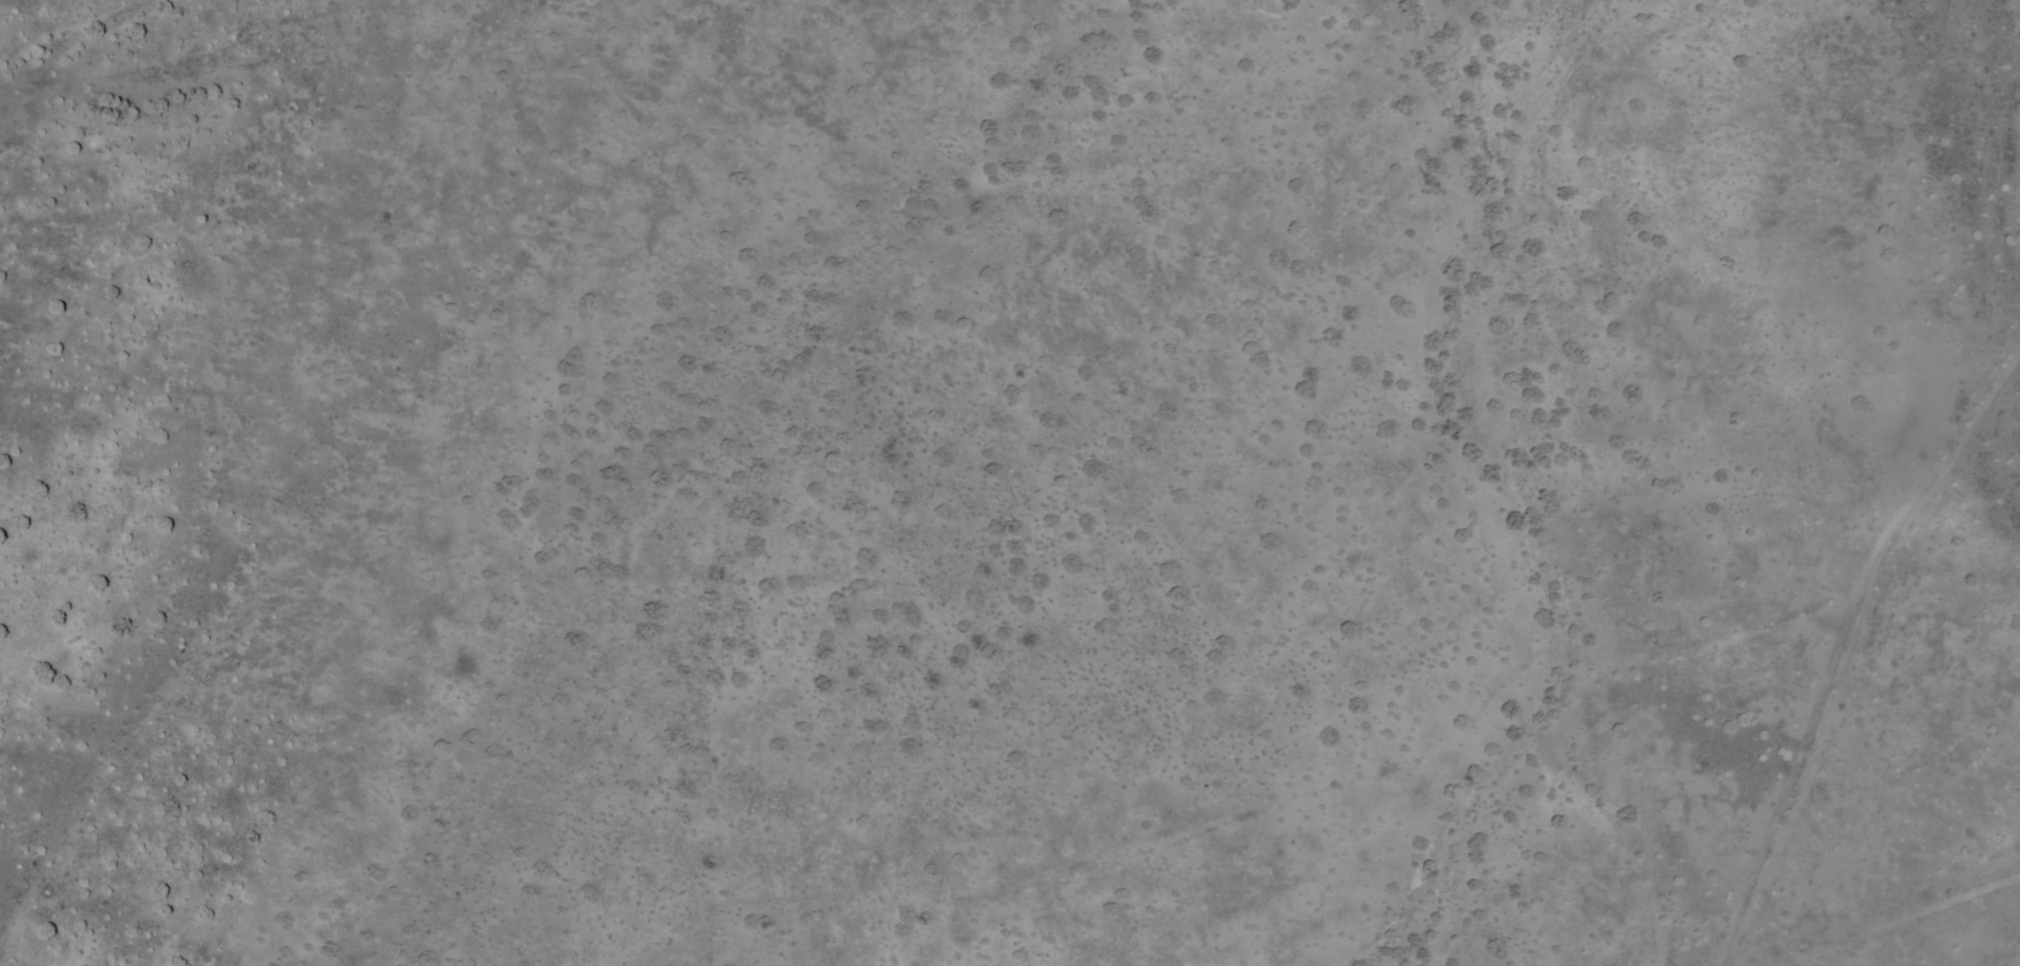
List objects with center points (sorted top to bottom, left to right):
road: (1847, 619)

